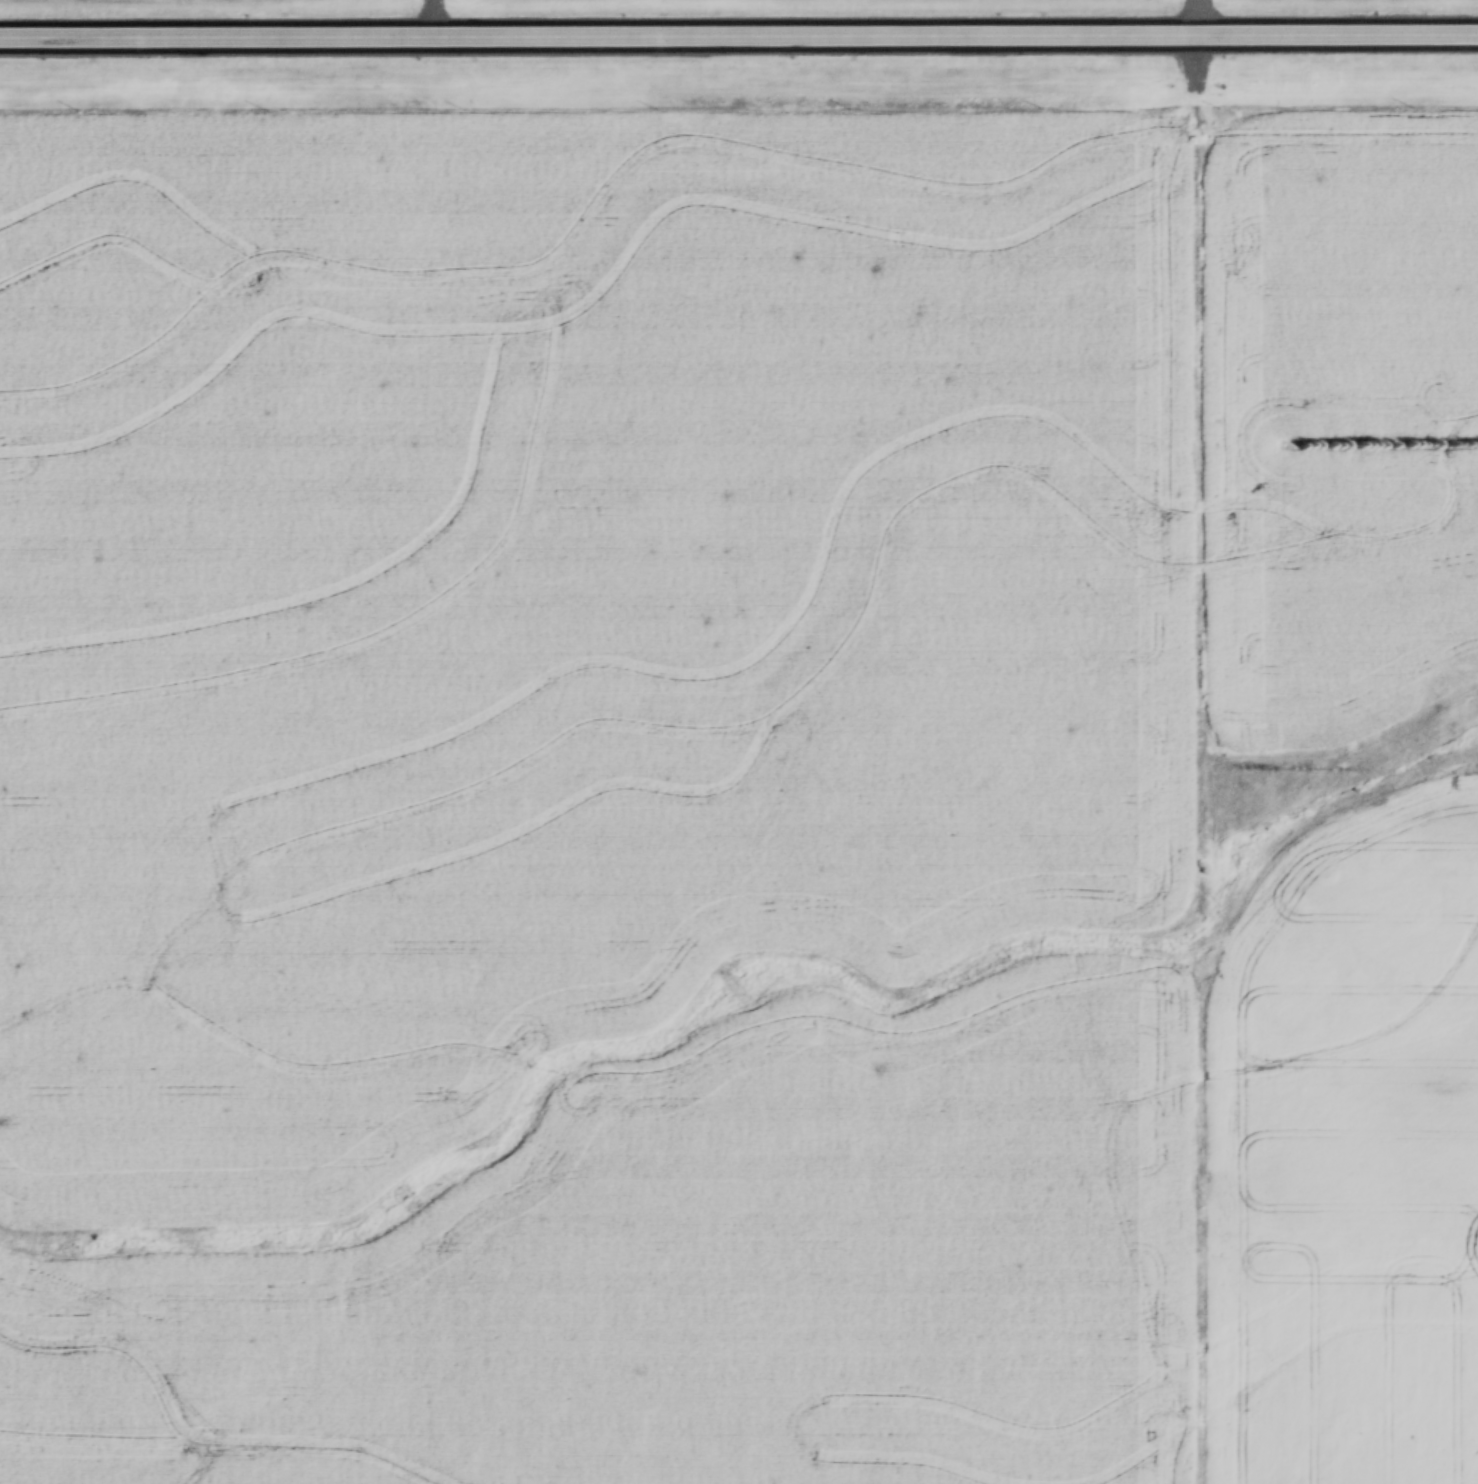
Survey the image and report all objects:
road: (738, 32)

